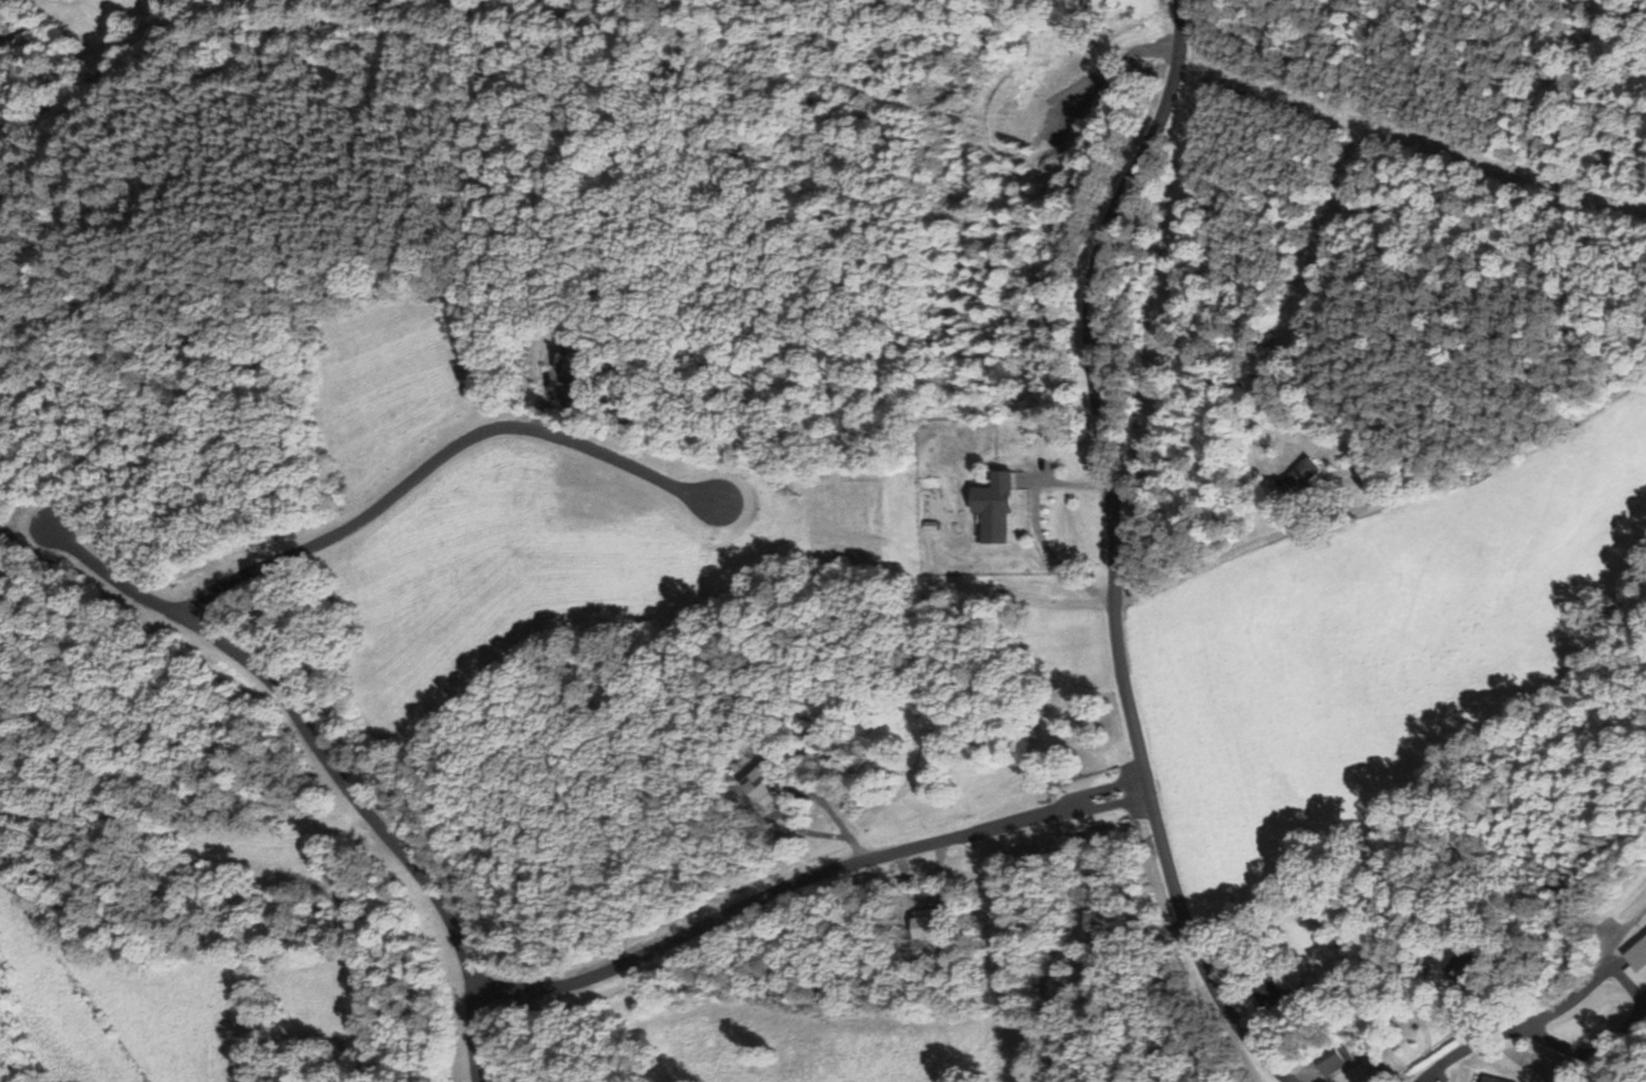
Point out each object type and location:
road: (436, 455)
building: (1300, 475)
building: (994, 508)
road: (1109, 555)
road: (1208, 555)
road: (297, 719)
road: (755, 898)
building: (1637, 962)
building: (1266, 987)
building: (1328, 1059)
building: (1489, 1079)

